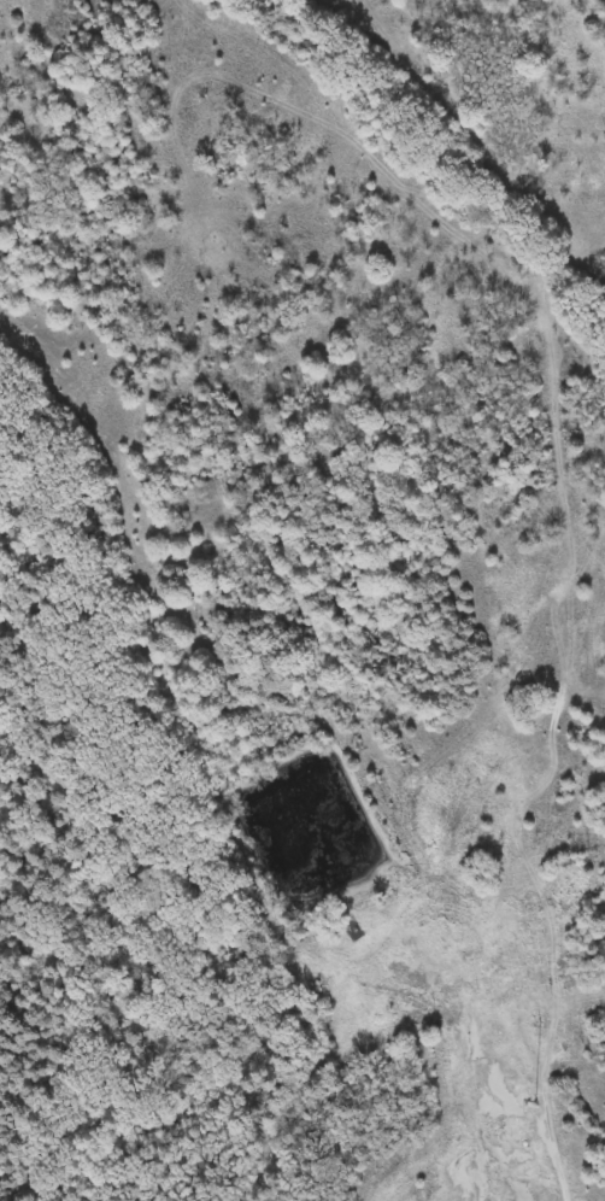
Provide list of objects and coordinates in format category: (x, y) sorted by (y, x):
road: (434, 976)

